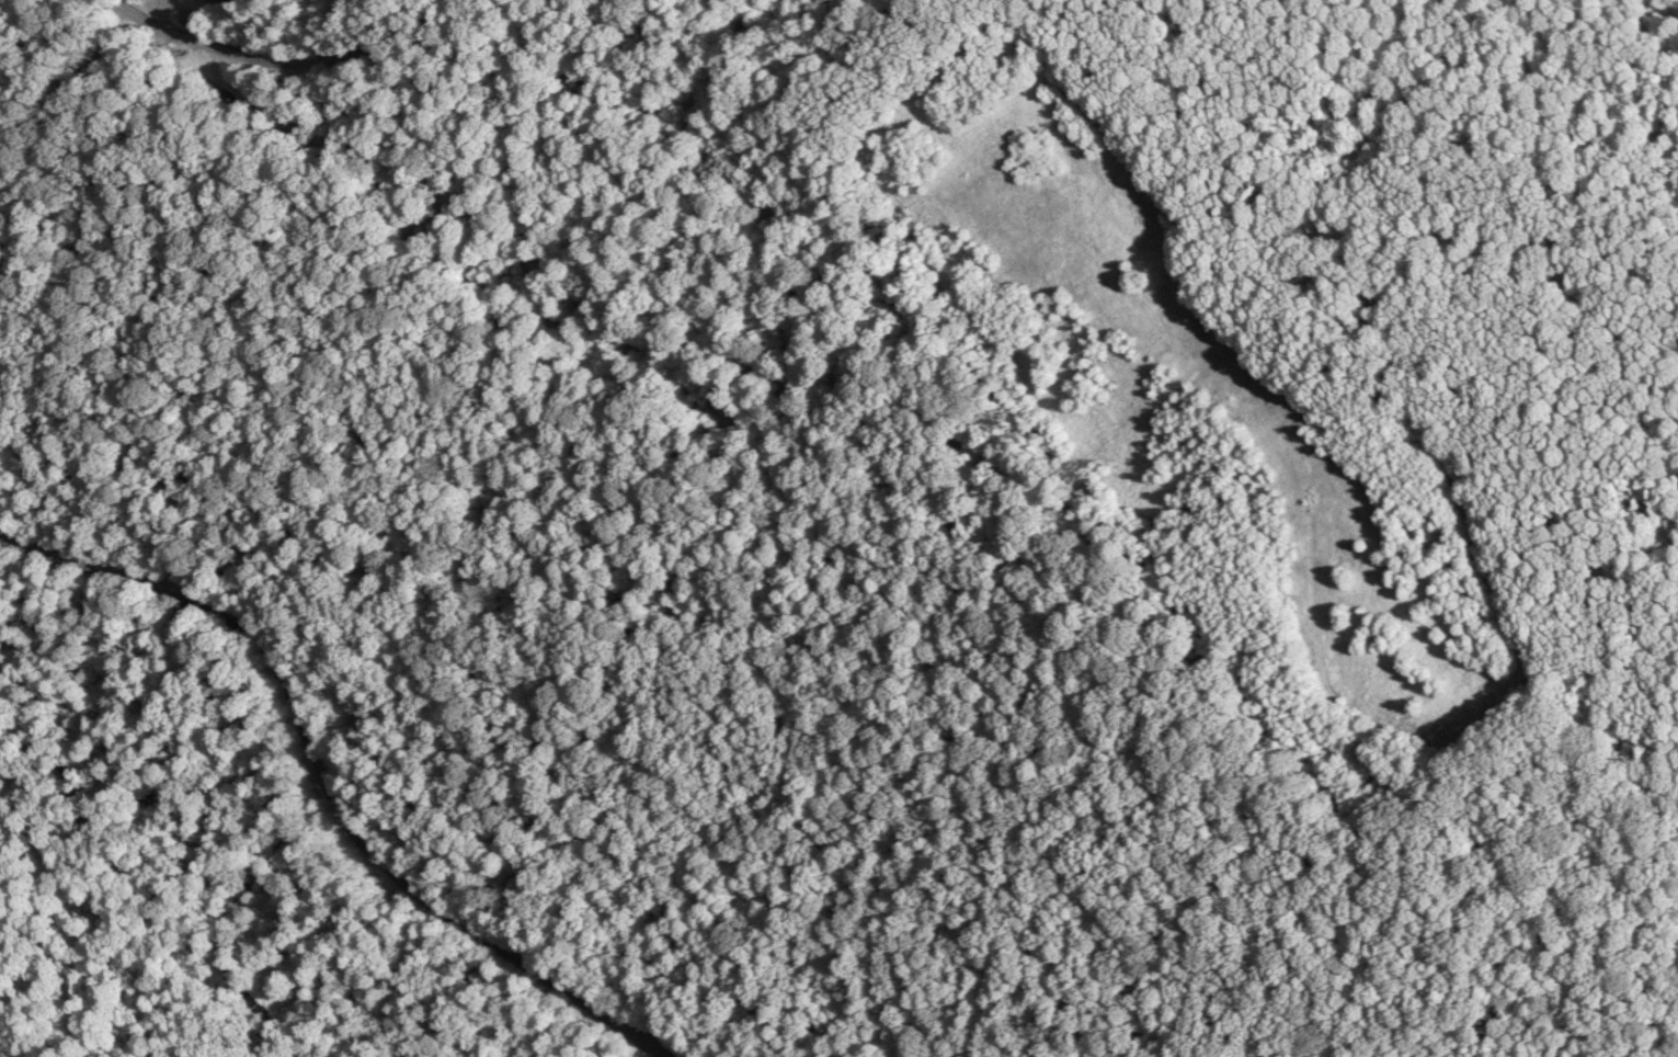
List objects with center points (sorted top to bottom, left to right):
road: (332, 781)

